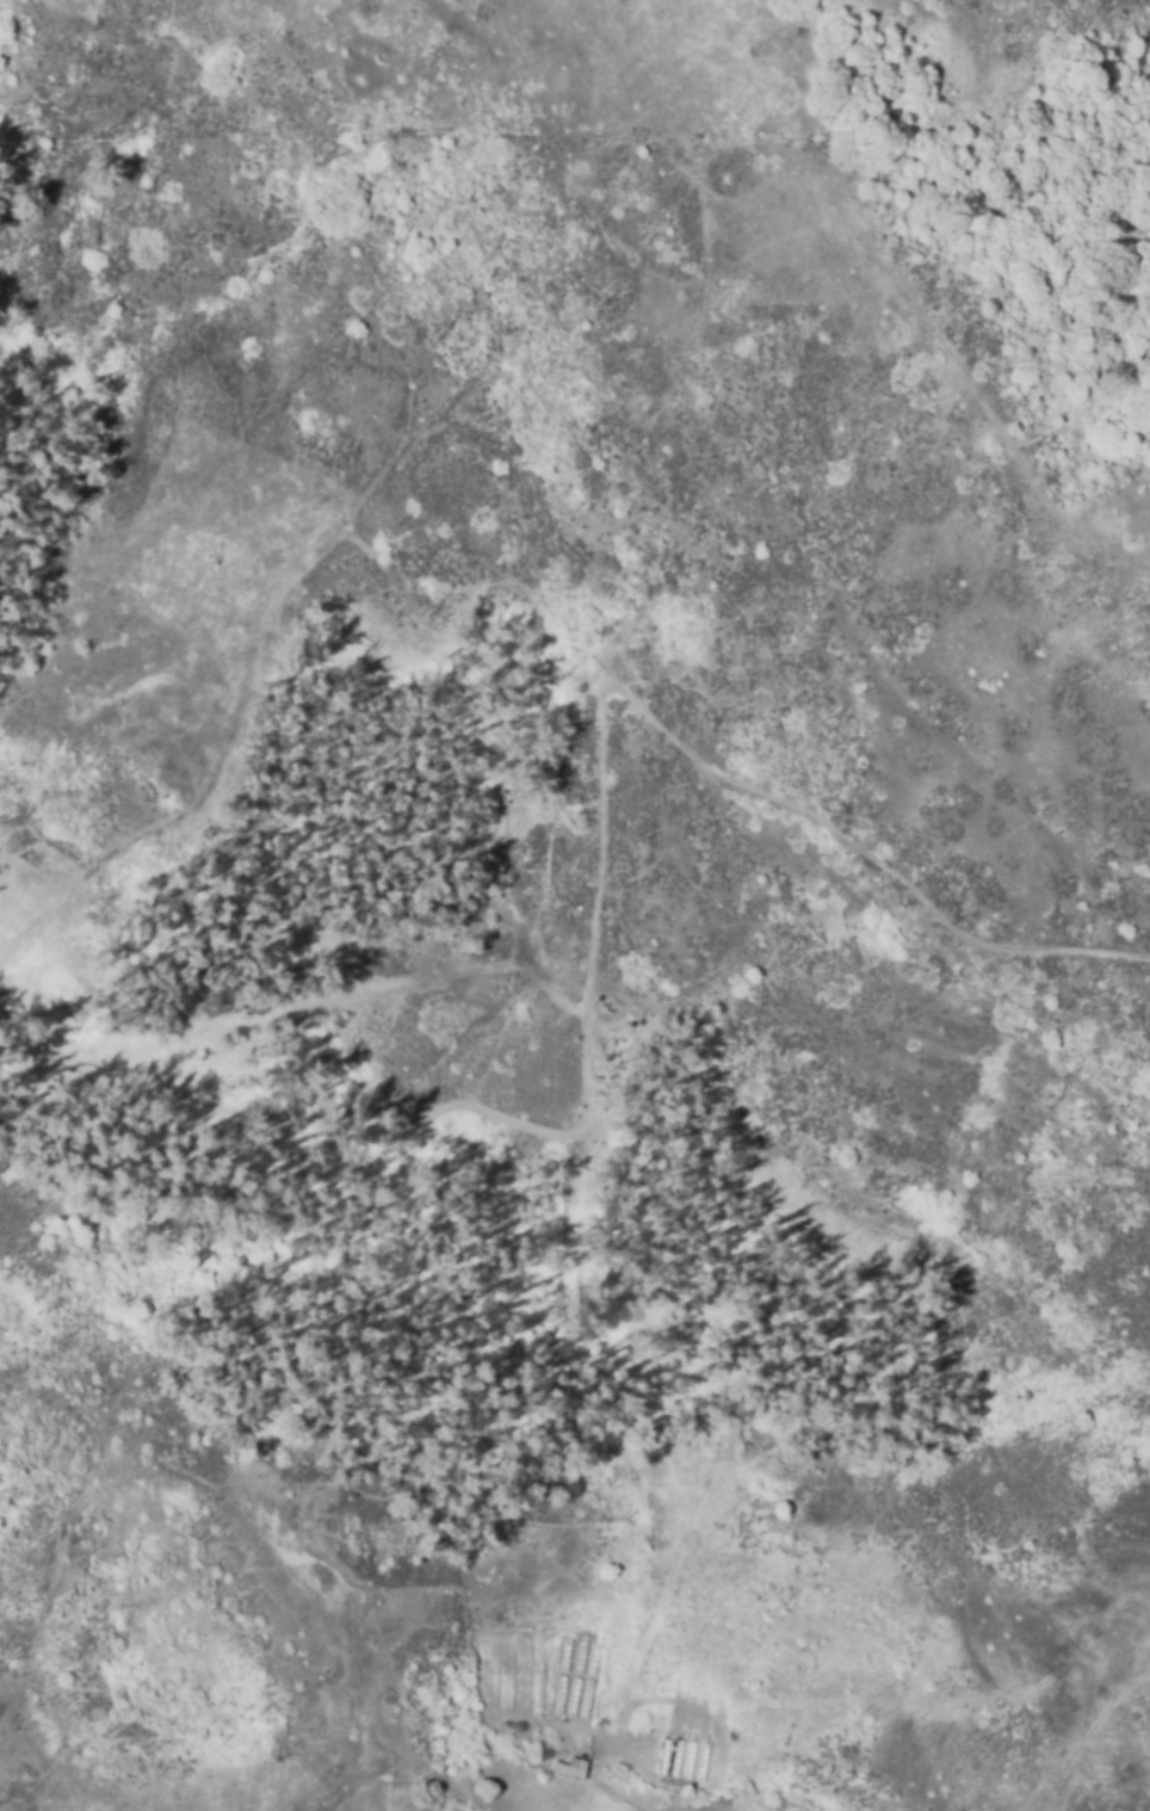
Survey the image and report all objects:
building: (580, 1769)

